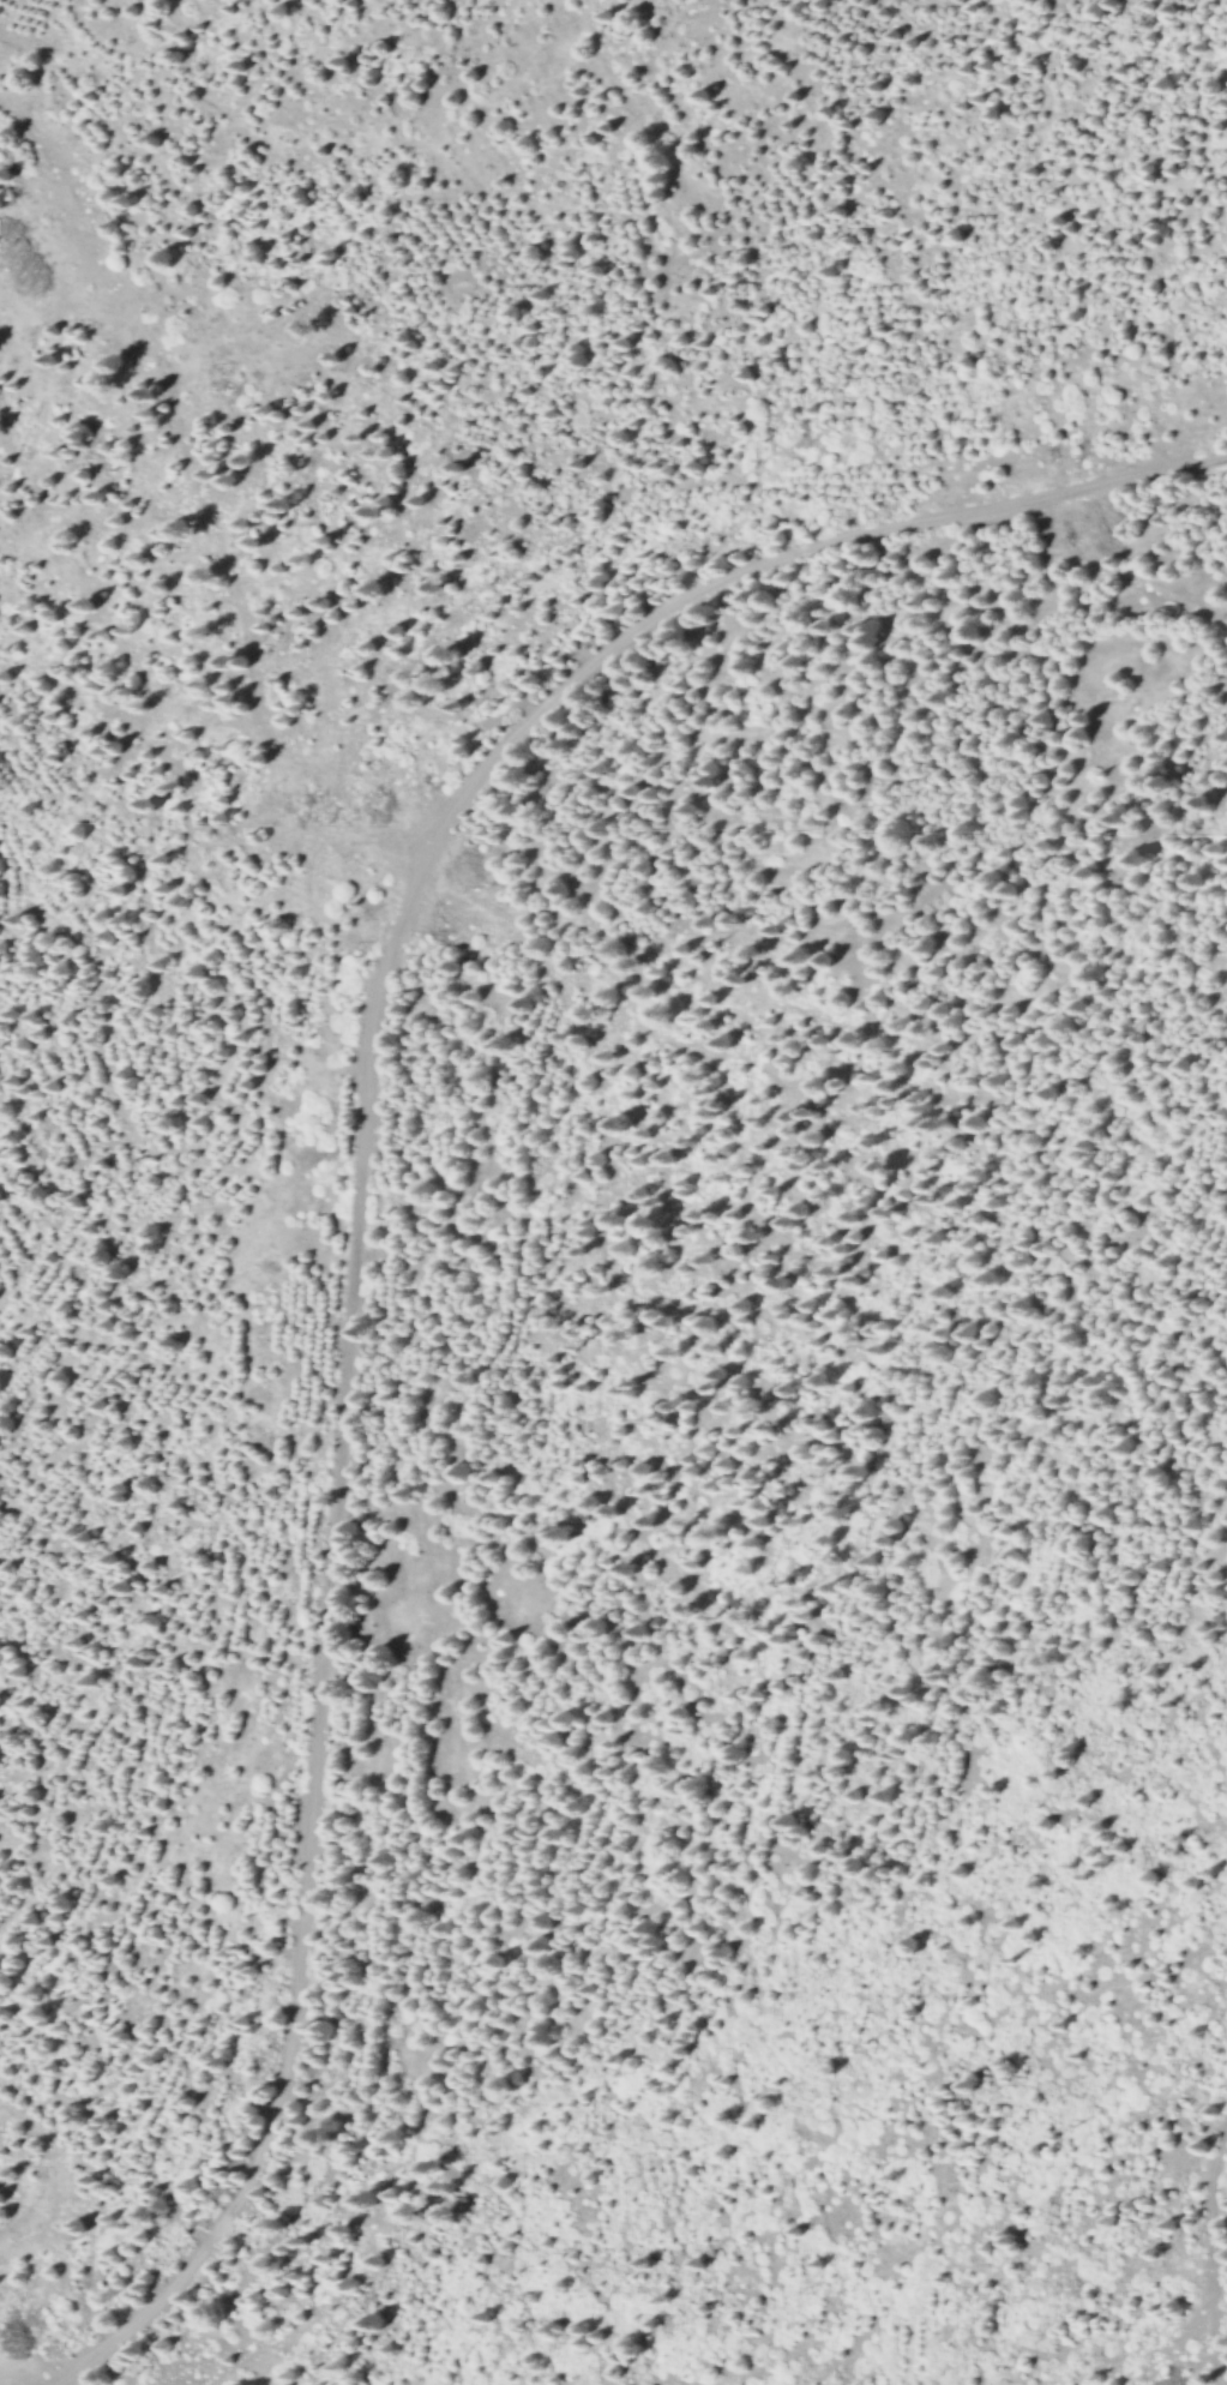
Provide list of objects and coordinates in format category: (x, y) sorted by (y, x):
road: (359, 1198)
road: (499, 1326)
road: (1208, 2247)
road: (1177, 2339)

